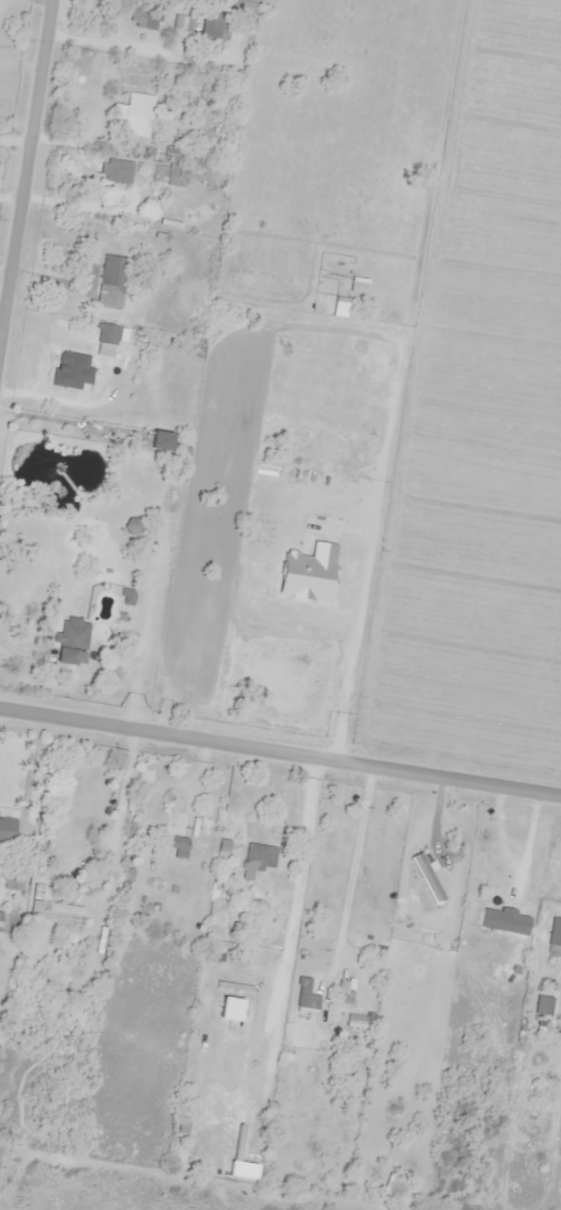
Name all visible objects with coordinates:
building: (147, 14)
building: (181, 25)
building: (212, 25)
building: (137, 114)
road: (24, 157)
building: (115, 170)
building: (167, 170)
building: (111, 281)
building: (104, 332)
building: (72, 366)
building: (68, 640)
road: (280, 750)
building: (5, 831)
building: (174, 844)
building: (259, 855)
building: (428, 872)
building: (502, 921)
building: (556, 935)
building: (303, 994)

